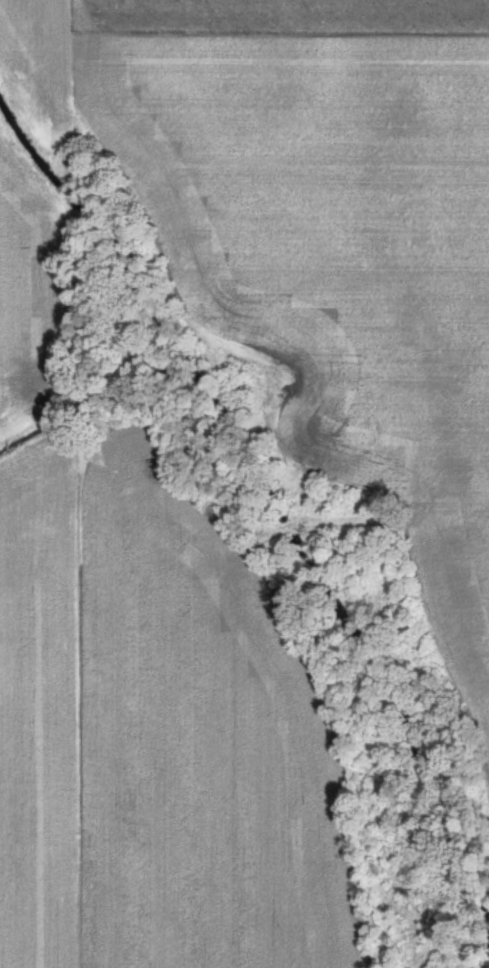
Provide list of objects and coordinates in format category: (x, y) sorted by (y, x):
crop: (27, 286)
crop: (157, 735)

